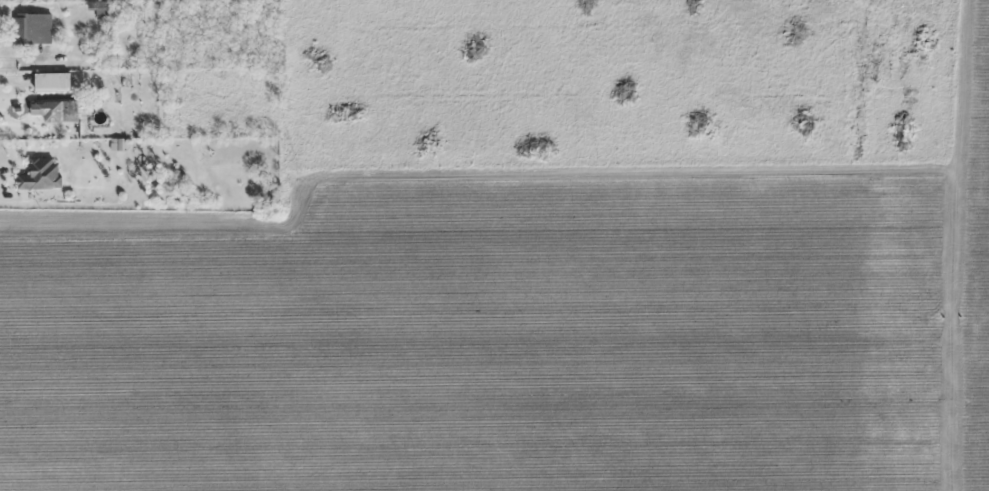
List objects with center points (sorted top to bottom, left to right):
building: (33, 28)
building: (51, 82)
building: (55, 111)
building: (40, 175)
crop: (975, 263)
crop: (490, 341)

